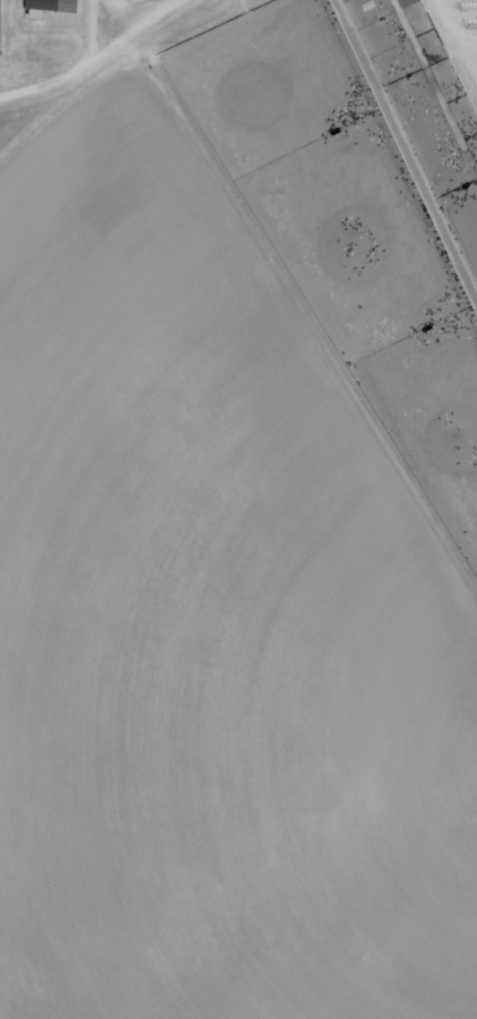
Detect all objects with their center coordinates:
building: (408, 3)
building: (54, 6)

